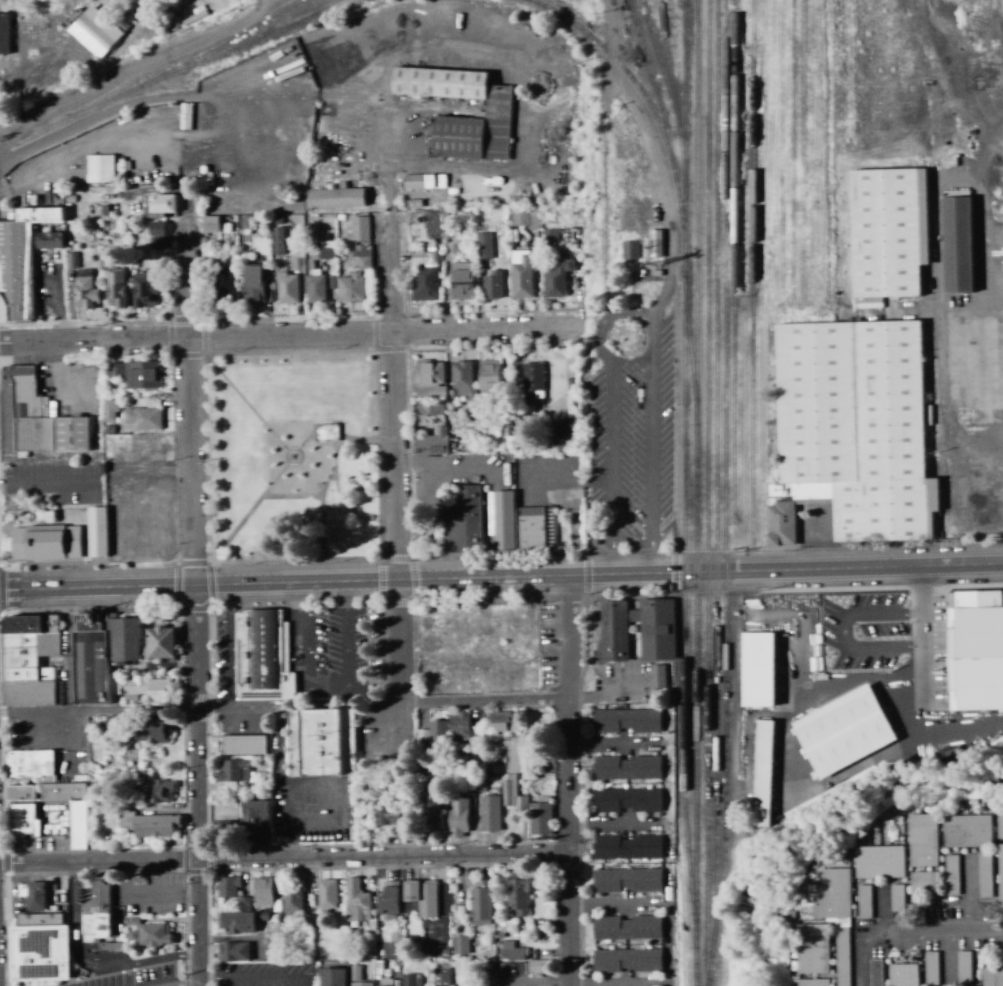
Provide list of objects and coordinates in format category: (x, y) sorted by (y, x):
railway: (331, 7)
railway: (333, 7)
railway: (911, 20)
building: (95, 30)
railway: (248, 30)
building: (3, 33)
railway: (238, 51)
railway: (652, 55)
railway: (161, 77)
building: (983, 77)
railway: (648, 78)
railway: (666, 81)
building: (446, 84)
railway: (840, 91)
railway: (232, 93)
railway: (638, 96)
railway: (681, 120)
building: (507, 125)
building: (465, 140)
railway: (799, 149)
railway: (778, 150)
railway: (788, 150)
building: (99, 168)
building: (424, 181)
building: (334, 197)
building: (161, 203)
building: (524, 218)
railway: (694, 221)
building: (209, 223)
building: (357, 228)
building: (886, 232)
building: (155, 235)
building: (550, 235)
building: (654, 243)
building: (50, 244)
building: (483, 245)
building: (961, 245)
building: (327, 250)
building: (629, 250)
building: (361, 256)
building: (20, 258)
building: (71, 260)
railway: (749, 271)
railway: (732, 272)
building: (520, 273)
building: (423, 276)
building: (556, 277)
building: (461, 280)
building: (221, 281)
building: (113, 283)
building: (252, 284)
building: (491, 285)
building: (314, 286)
building: (286, 287)
building: (350, 287)
building: (144, 289)
building: (84, 290)
road: (618, 306)
road: (290, 337)
building: (134, 373)
railway: (687, 375)
building: (487, 376)
building: (428, 377)
building: (462, 379)
building: (532, 380)
road: (194, 394)
road: (251, 406)
building: (109, 410)
building: (142, 416)
building: (41, 418)
building: (564, 429)
building: (438, 430)
building: (858, 432)
road: (335, 435)
building: (147, 447)
road: (400, 458)
park: (289, 462)
railway: (713, 473)
road: (260, 482)
road: (46, 483)
railway: (704, 493)
railway: (722, 493)
railway: (693, 507)
building: (500, 519)
building: (462, 520)
building: (146, 525)
building: (530, 526)
building: (96, 531)
building: (44, 542)
road: (501, 578)
railway: (680, 581)
railway: (686, 594)
building: (20, 624)
building: (46, 624)
building: (159, 642)
building: (658, 642)
building: (973, 648)
building: (92, 650)
parking lot: (330, 651)
building: (262, 654)
building: (757, 669)
building: (657, 676)
road: (327, 683)
building: (146, 688)
road: (386, 704)
road: (101, 711)
building: (499, 720)
building: (626, 720)
building: (458, 725)
building: (149, 731)
building: (842, 731)
building: (437, 732)
building: (320, 742)
building: (243, 745)
building: (29, 764)
building: (626, 767)
building: (514, 770)
building: (232, 771)
building: (762, 773)
railway: (693, 779)
road: (573, 780)
road: (202, 785)
building: (19, 792)
building: (152, 792)
building: (626, 800)
building: (69, 809)
building: (387, 813)
building: (489, 813)
building: (434, 815)
building: (457, 816)
building: (539, 819)
building: (20, 820)
building: (255, 820)
building: (147, 824)
building: (999, 824)
building: (966, 831)
building: (922, 840)
building: (626, 846)
road: (286, 859)
building: (879, 862)
building: (1000, 871)
building: (951, 874)
building: (984, 875)
building: (626, 880)
building: (923, 883)
building: (227, 886)
building: (262, 892)
building: (518, 892)
building: (31, 895)
road: (163, 895)
building: (325, 896)
building: (421, 896)
building: (896, 898)
building: (291, 901)
building: (388, 901)
building: (863, 901)
building: (356, 902)
building: (480, 906)
building: (835, 916)
building: (260, 917)
building: (236, 922)
building: (626, 928)
road: (954, 931)
building: (153, 934)
building: (460, 945)
building: (36, 949)
building: (810, 949)
building: (233, 951)
building: (511, 951)
building: (626, 960)
road: (93, 963)
building: (539, 966)
building: (902, 975)
building: (991, 976)
building: (331, 977)
building: (441, 977)
road: (258, 978)
building: (357, 979)
building: (411, 979)
road: (189, 982)
building: (812, 982)

